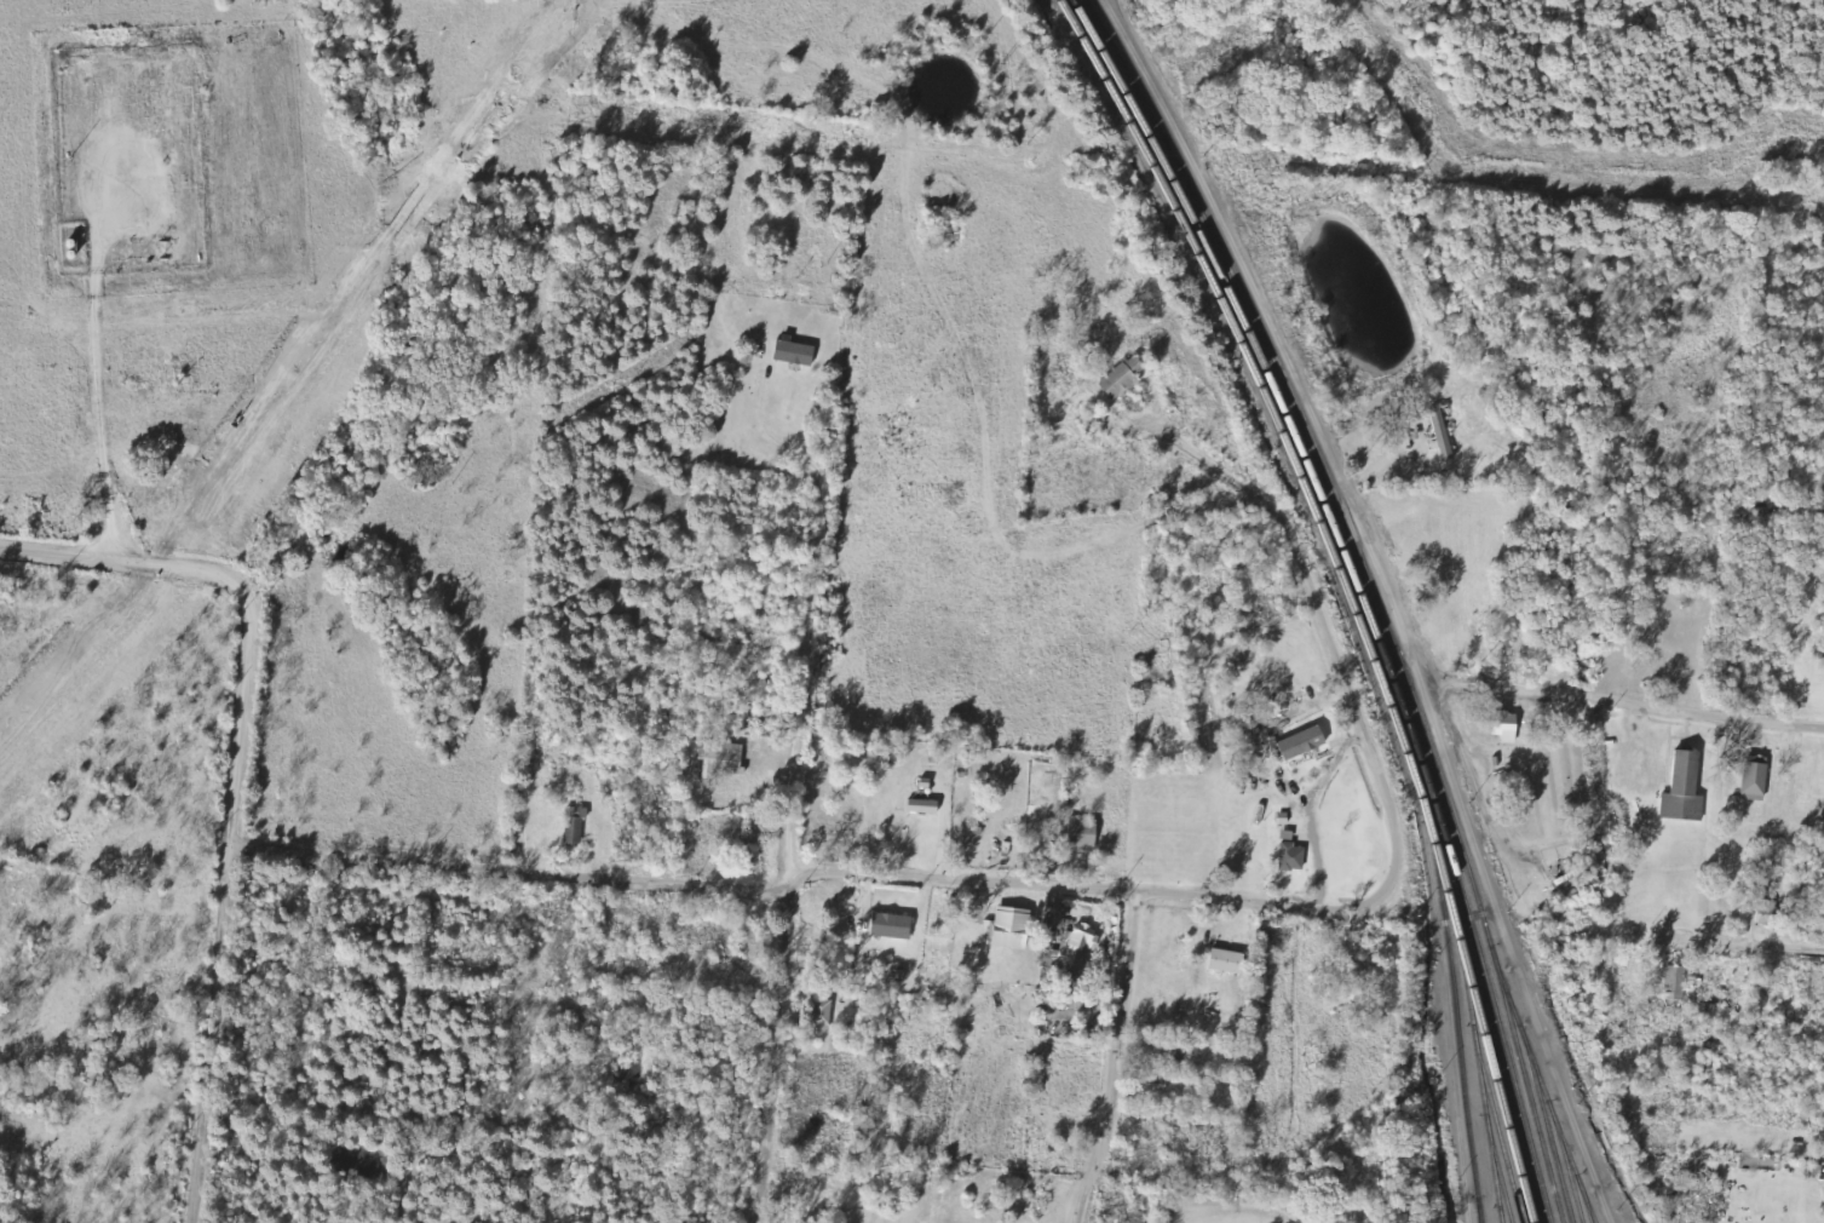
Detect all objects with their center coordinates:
building: (796, 354)
building: (1124, 378)
building: (1442, 433)
road: (1238, 482)
railway: (1346, 591)
railway: (1359, 592)
railway: (1371, 592)
road: (1543, 695)
building: (1507, 727)
building: (1305, 743)
building: (724, 758)
road: (237, 779)
building: (1756, 781)
building: (1686, 788)
building: (926, 806)
building: (576, 826)
building: (758, 833)
building: (1083, 834)
road: (793, 846)
building: (1294, 857)
road: (1017, 885)
building: (1770, 913)
building: (893, 926)
building: (1012, 928)
building: (1078, 949)
road: (1747, 953)
building: (1675, 983)
building: (1066, 984)
building: (823, 1015)
railway: (1456, 1035)
road: (1114, 1060)
building: (1158, 1086)
railway: (1483, 1087)
railway: (1540, 1096)
road: (381, 1116)
railway: (1558, 1132)
railway: (1500, 1133)
railway: (1575, 1171)
railway: (1501, 1178)
railway: (1589, 1208)
railway: (1479, 1210)

